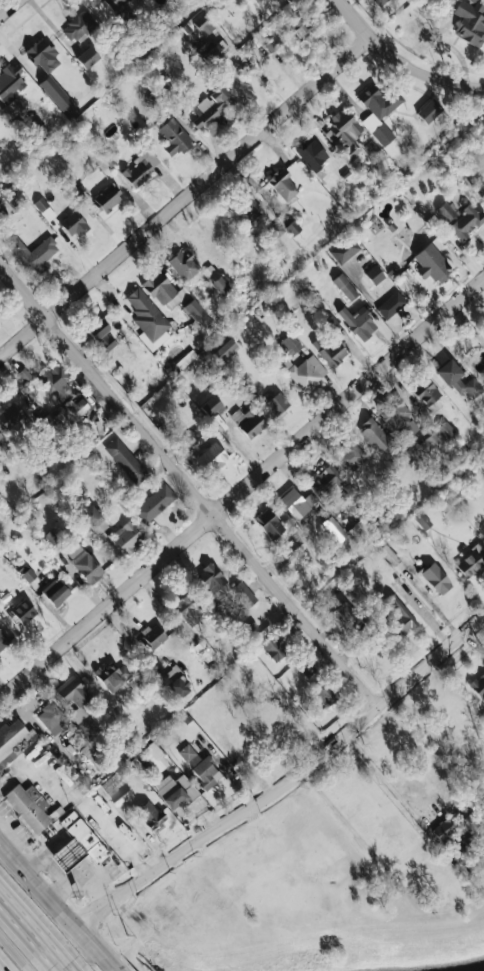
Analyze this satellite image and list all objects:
building: (255, 1)
building: (380, 2)
building: (115, 4)
road: (10, 9)
building: (470, 22)
building: (203, 24)
building: (78, 27)
building: (293, 30)
building: (212, 50)
building: (43, 55)
building: (87, 57)
road: (401, 60)
building: (10, 81)
building: (58, 96)
building: (210, 108)
building: (11, 109)
building: (379, 111)
building: (429, 111)
building: (38, 129)
building: (344, 133)
building: (174, 137)
building: (312, 154)
building: (141, 168)
building: (283, 185)
building: (12, 196)
building: (107, 198)
road: (185, 198)
building: (42, 205)
building: (249, 210)
building: (1, 211)
building: (445, 212)
building: (466, 222)
building: (74, 225)
building: (293, 228)
building: (344, 250)
building: (34, 253)
building: (433, 264)
building: (184, 265)
building: (210, 273)
building: (374, 274)
building: (221, 286)
building: (345, 287)
building: (159, 288)
building: (391, 305)
building: (197, 313)
building: (148, 319)
building: (359, 323)
building: (101, 335)
building: (289, 344)
building: (224, 350)
building: (332, 353)
building: (184, 360)
building: (307, 373)
building: (457, 379)
building: (54, 381)
building: (483, 383)
building: (426, 394)
building: (276, 404)
building: (211, 406)
building: (79, 407)
building: (10, 416)
building: (398, 419)
building: (248, 422)
building: (445, 430)
building: (374, 435)
building: (188, 441)
building: (422, 443)
building: (122, 456)
building: (350, 457)
building: (212, 458)
building: (326, 484)
road: (190, 485)
road: (241, 491)
building: (154, 503)
building: (297, 503)
building: (93, 520)
building: (269, 524)
building: (334, 528)
building: (127, 537)
building: (293, 549)
building: (471, 561)
building: (84, 563)
building: (436, 578)
building: (224, 588)
building: (55, 591)
road: (431, 602)
building: (23, 611)
building: (189, 613)
building: (346, 615)
building: (396, 616)
building: (152, 636)
building: (274, 649)
building: (206, 651)
building: (306, 668)
building: (112, 676)
building: (176, 682)
building: (478, 685)
building: (73, 691)
building: (325, 695)
building: (52, 718)
building: (88, 727)
building: (9, 741)
building: (91, 754)
building: (155, 757)
building: (199, 765)
road: (227, 770)
road: (287, 779)
road: (386, 782)
building: (173, 790)
building: (28, 807)
building: (149, 815)
building: (455, 823)
building: (470, 838)
building: (77, 844)
road: (335, 851)
road: (56, 900)
road: (30, 937)
road: (13, 954)
road: (112, 970)

